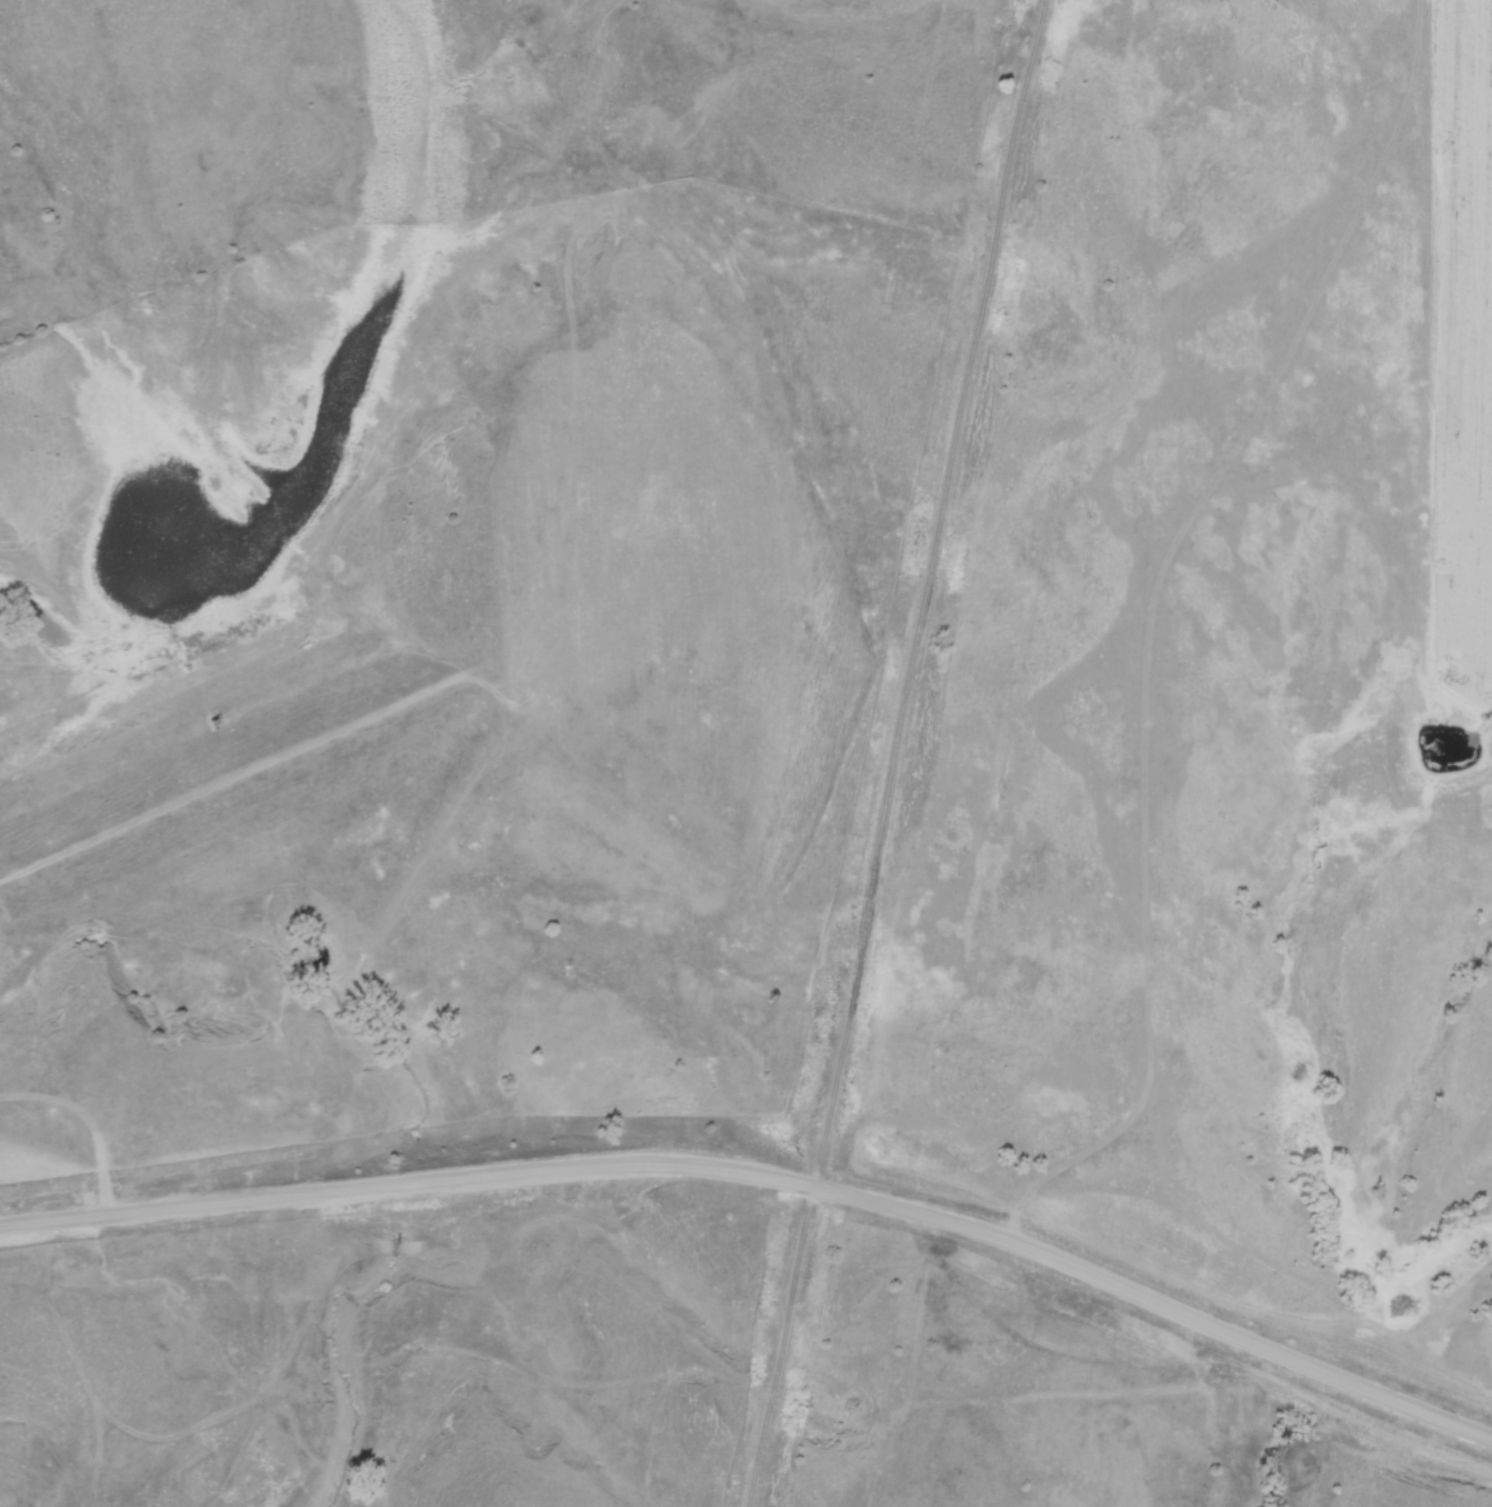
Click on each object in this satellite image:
crop: (1467, 356)
railway: (894, 753)
road: (768, 1176)

